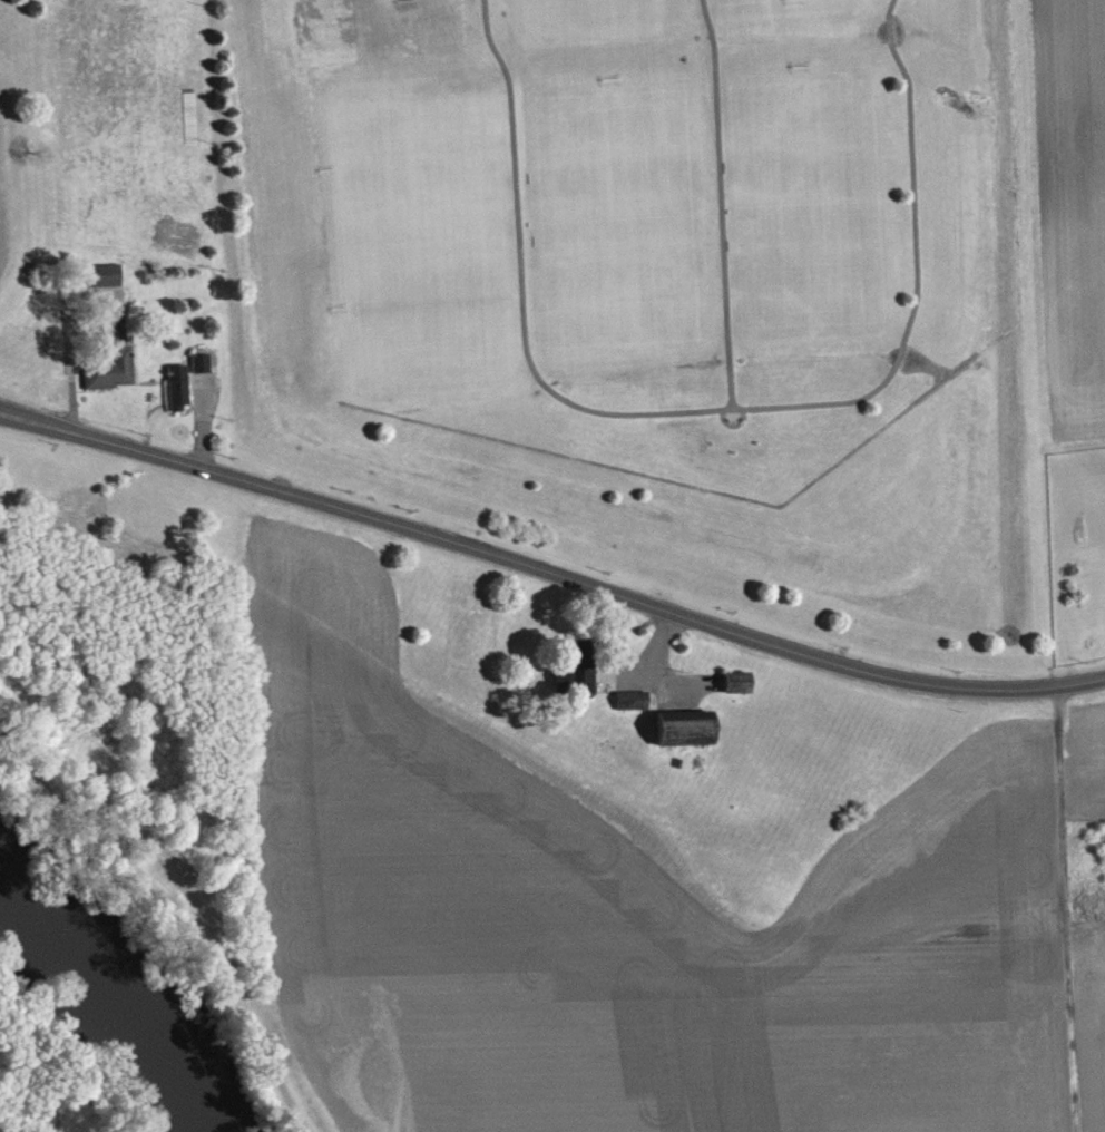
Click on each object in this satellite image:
park: (753, 2)
park: (587, 14)
park: (394, 146)
road: (718, 203)
park: (804, 205)
park: (27, 206)
park: (614, 218)
building: (97, 273)
building: (102, 284)
park: (652, 290)
park: (426, 306)
building: (118, 348)
road: (68, 360)
building: (198, 362)
building: (202, 371)
building: (175, 386)
road: (708, 409)
road: (199, 420)
road: (549, 570)
road: (654, 645)
building: (574, 669)
road: (656, 680)
building: (734, 680)
building: (739, 691)
road: (677, 694)
building: (628, 699)
building: (634, 709)
building: (681, 725)
road: (183, 916)
crop: (622, 920)
river: (120, 999)

